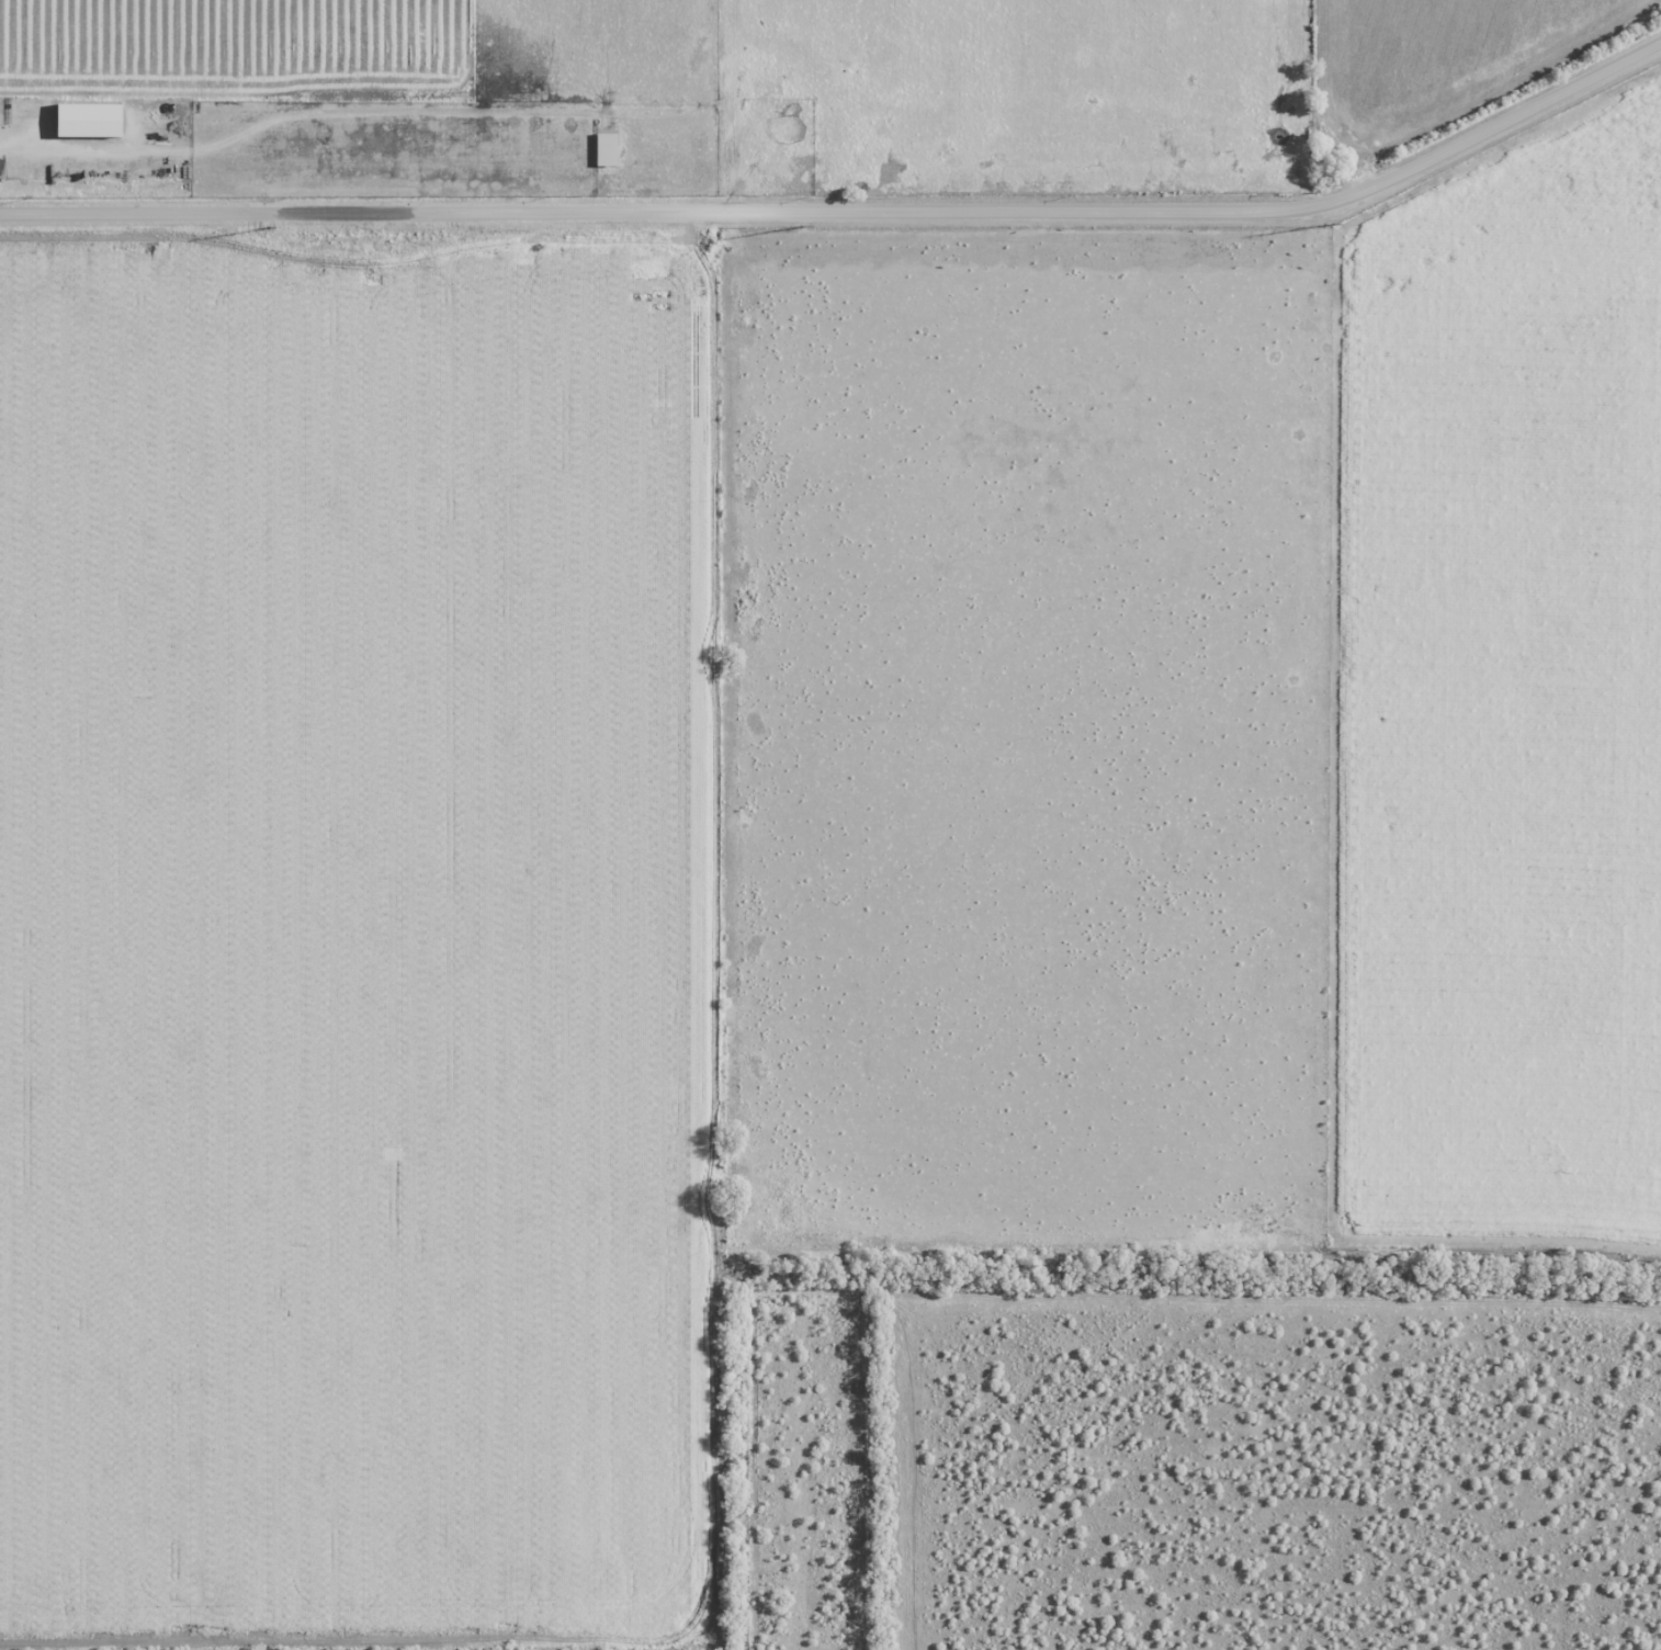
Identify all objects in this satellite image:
road: (279, 118)
building: (607, 150)
road: (849, 211)
power tower: (1329, 225)
power tower: (802, 227)
power tower: (270, 228)

